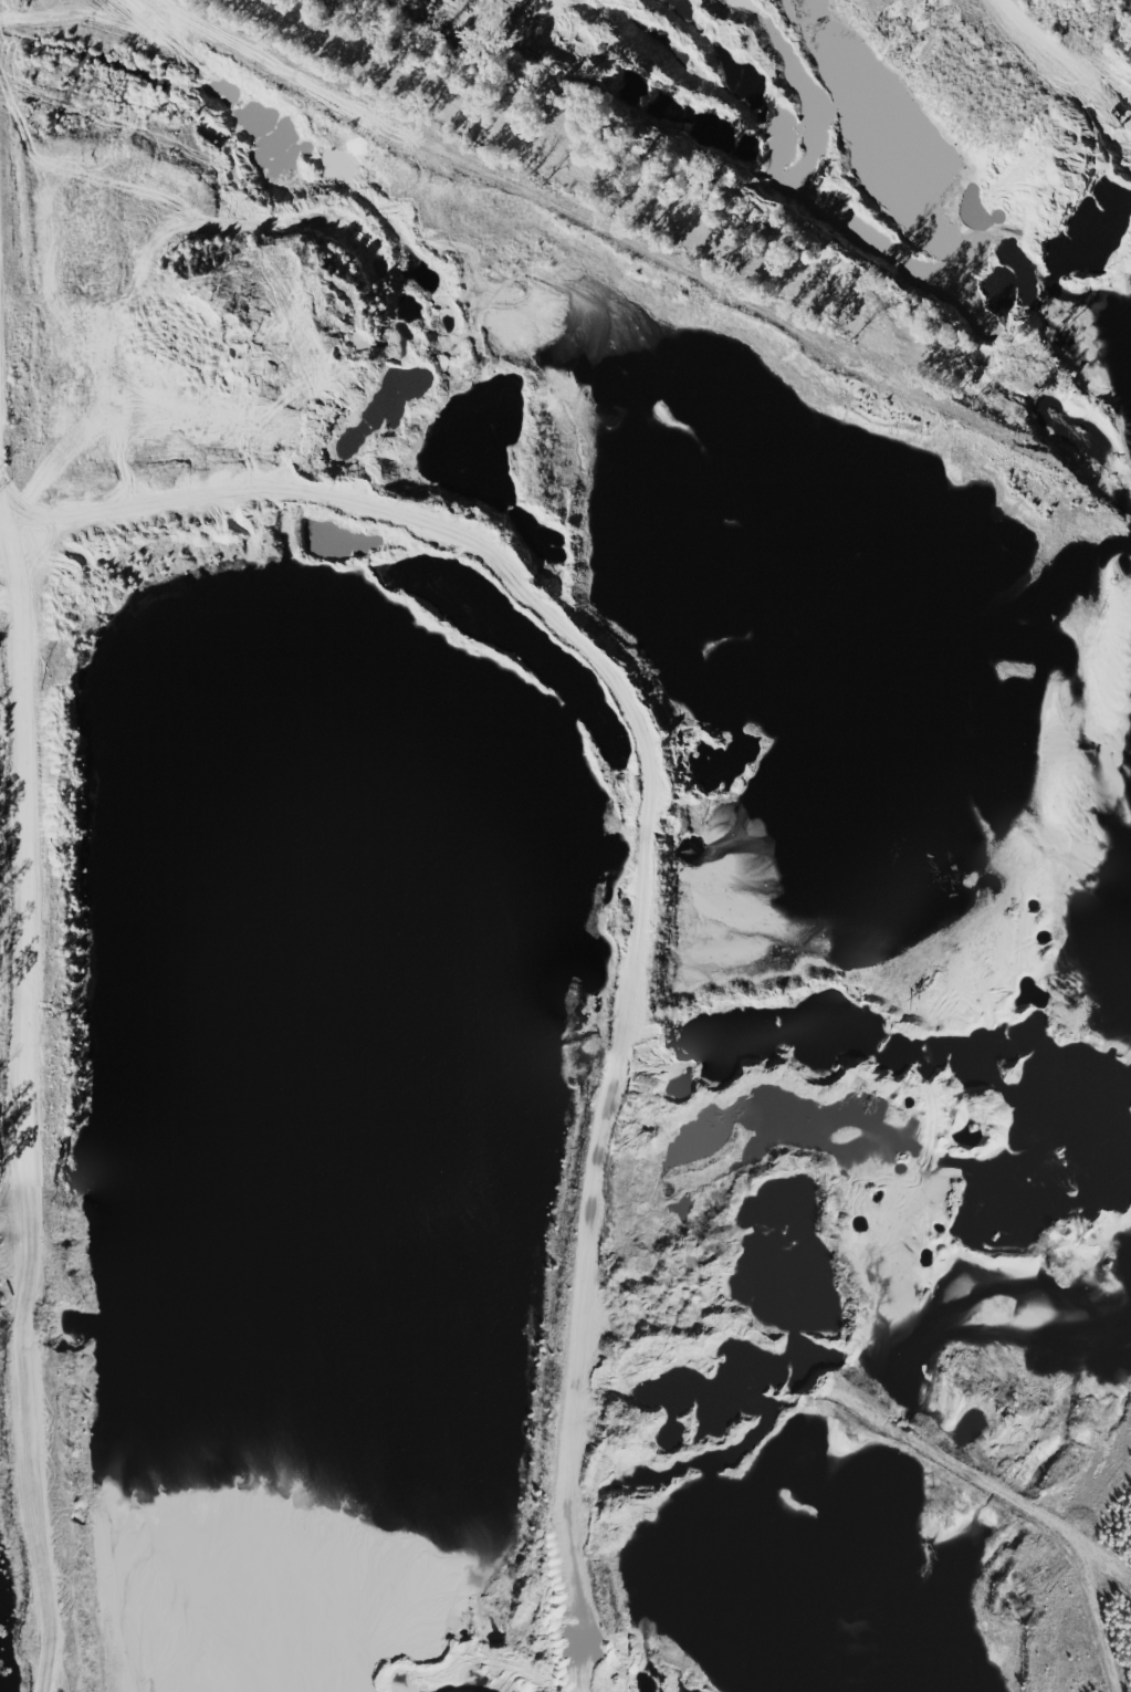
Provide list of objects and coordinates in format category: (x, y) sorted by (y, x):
road: (11, 530)
road: (652, 829)
road: (20, 1129)

